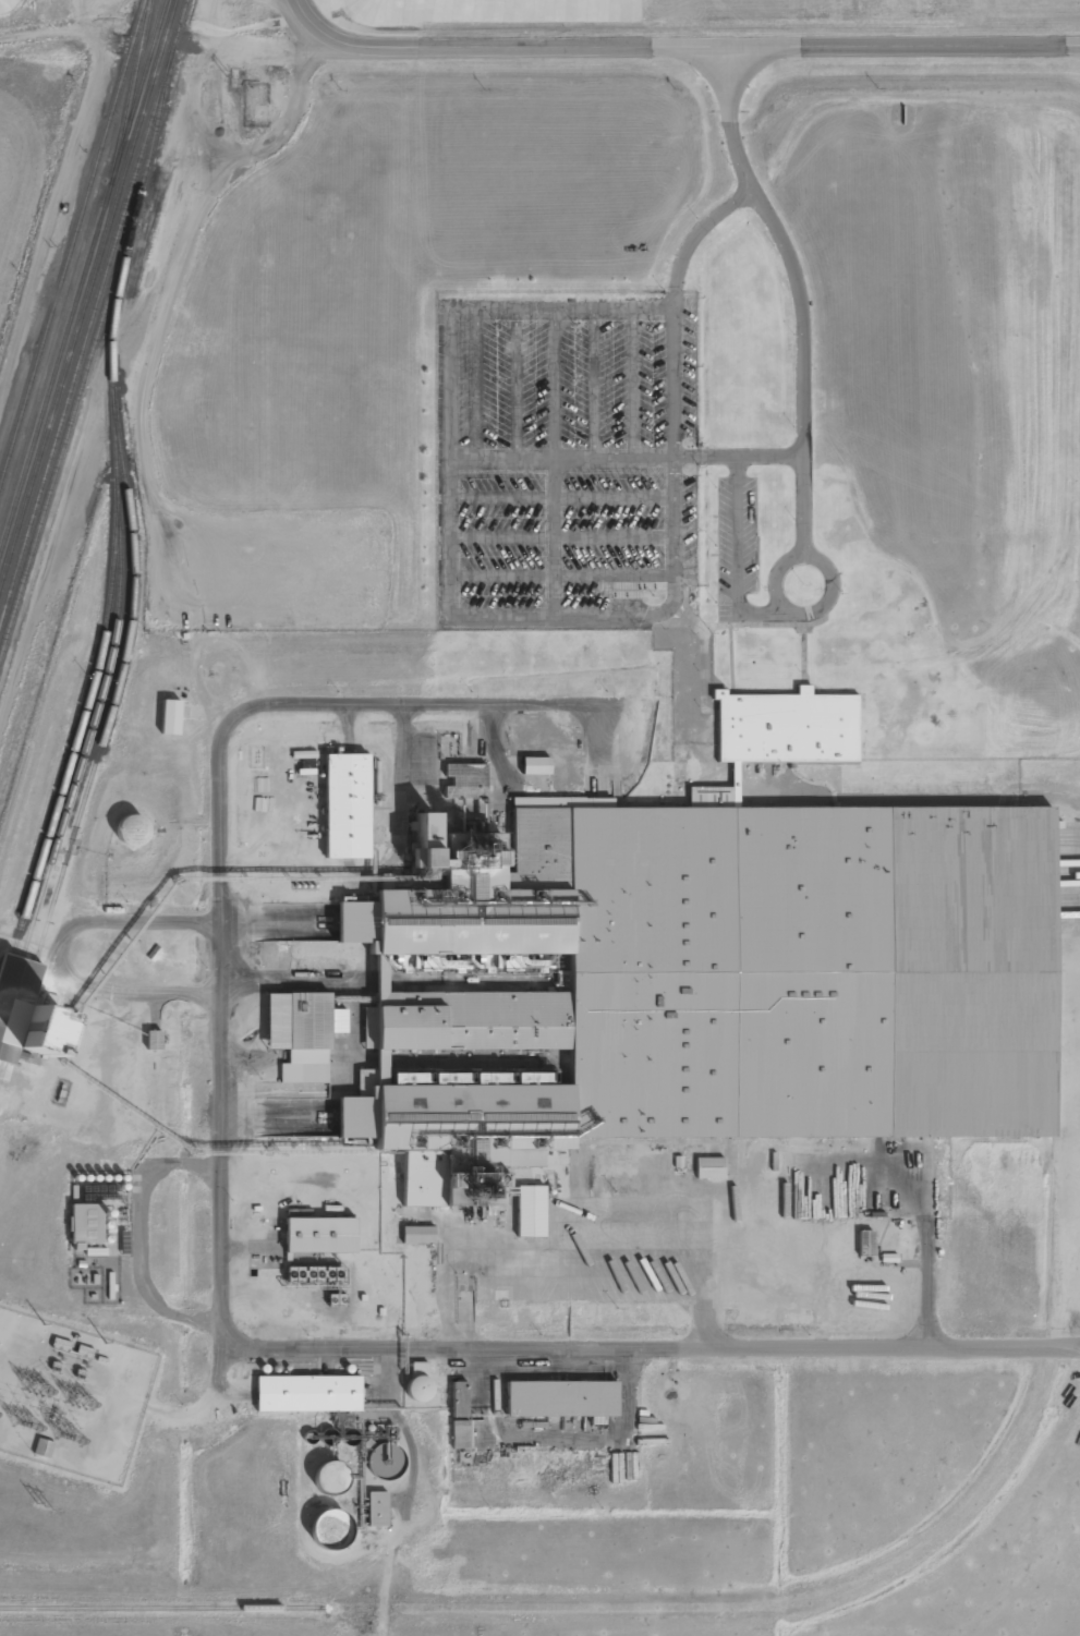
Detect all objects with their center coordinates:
building: (11, 5)
road: (52, 32)
road: (677, 46)
railway: (135, 81)
railway: (72, 242)
railway: (83, 276)
railway: (87, 290)
road: (798, 293)
railway: (94, 313)
railway: (88, 363)
road: (477, 383)
road: (518, 383)
road: (595, 383)
road: (632, 383)
road: (627, 457)
parking lot: (567, 461)
road: (554, 464)
road: (563, 498)
road: (563, 540)
parking lot: (738, 548)
road: (738, 556)
road: (821, 562)
railway: (132, 566)
road: (563, 573)
road: (521, 618)
road: (747, 626)
railway: (110, 655)
road: (804, 659)
road: (731, 661)
road: (705, 672)
railway: (94, 680)
building: (171, 717)
building: (788, 727)
building: (536, 766)
building: (468, 790)
building: (716, 793)
building: (347, 805)
building: (702, 982)
building: (26, 1014)
building: (301, 1033)
building: (709, 1168)
building: (531, 1211)
building: (87, 1224)
building: (418, 1234)
building: (320, 1235)
road: (221, 1258)
building: (418, 1389)
building: (308, 1393)
power substation: (70, 1396)
building: (561, 1398)
building: (460, 1399)
building: (461, 1434)
building: (44, 1449)
building: (385, 1457)
building: (330, 1477)
power tower: (48, 1507)
building: (377, 1508)
railway: (162, 1609)

